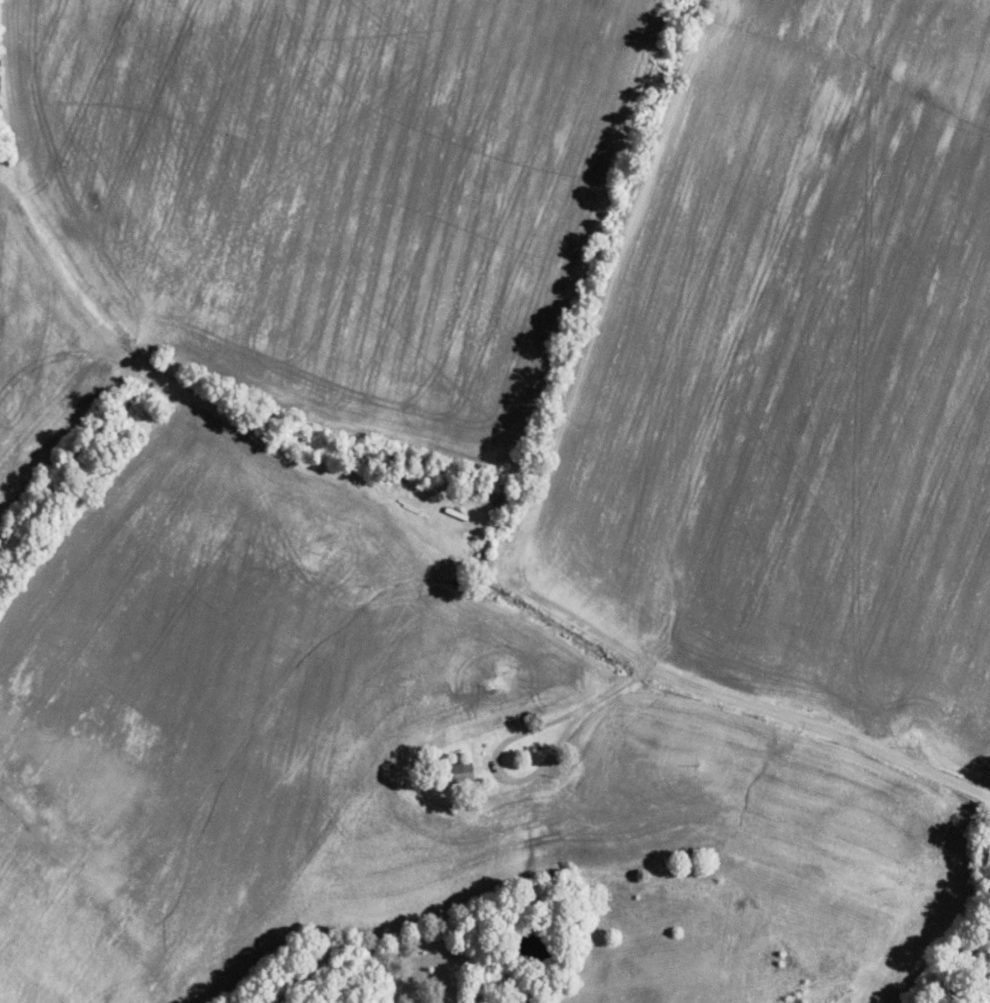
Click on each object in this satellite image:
road: (452, 550)
building: (458, 772)

